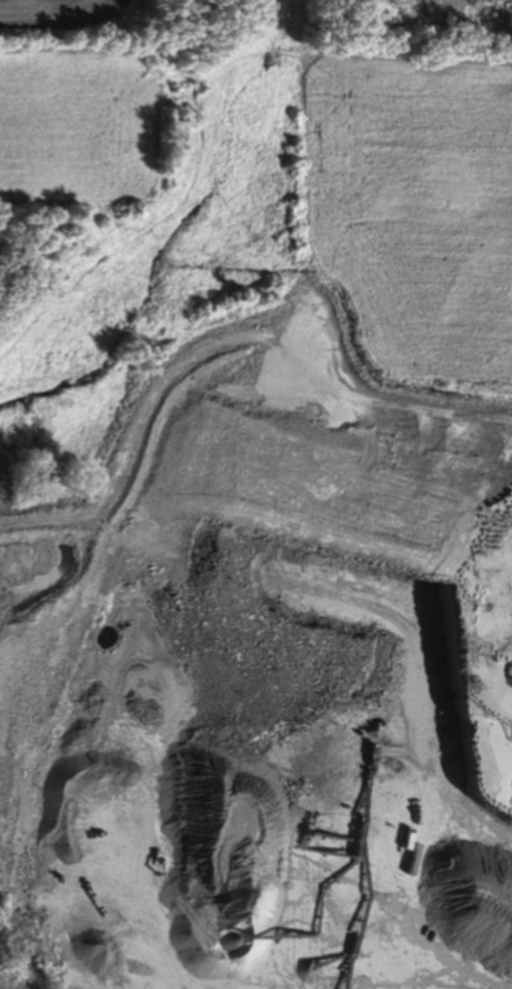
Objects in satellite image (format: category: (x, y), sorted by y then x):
quarry: (410, 34)
quarry: (203, 784)

